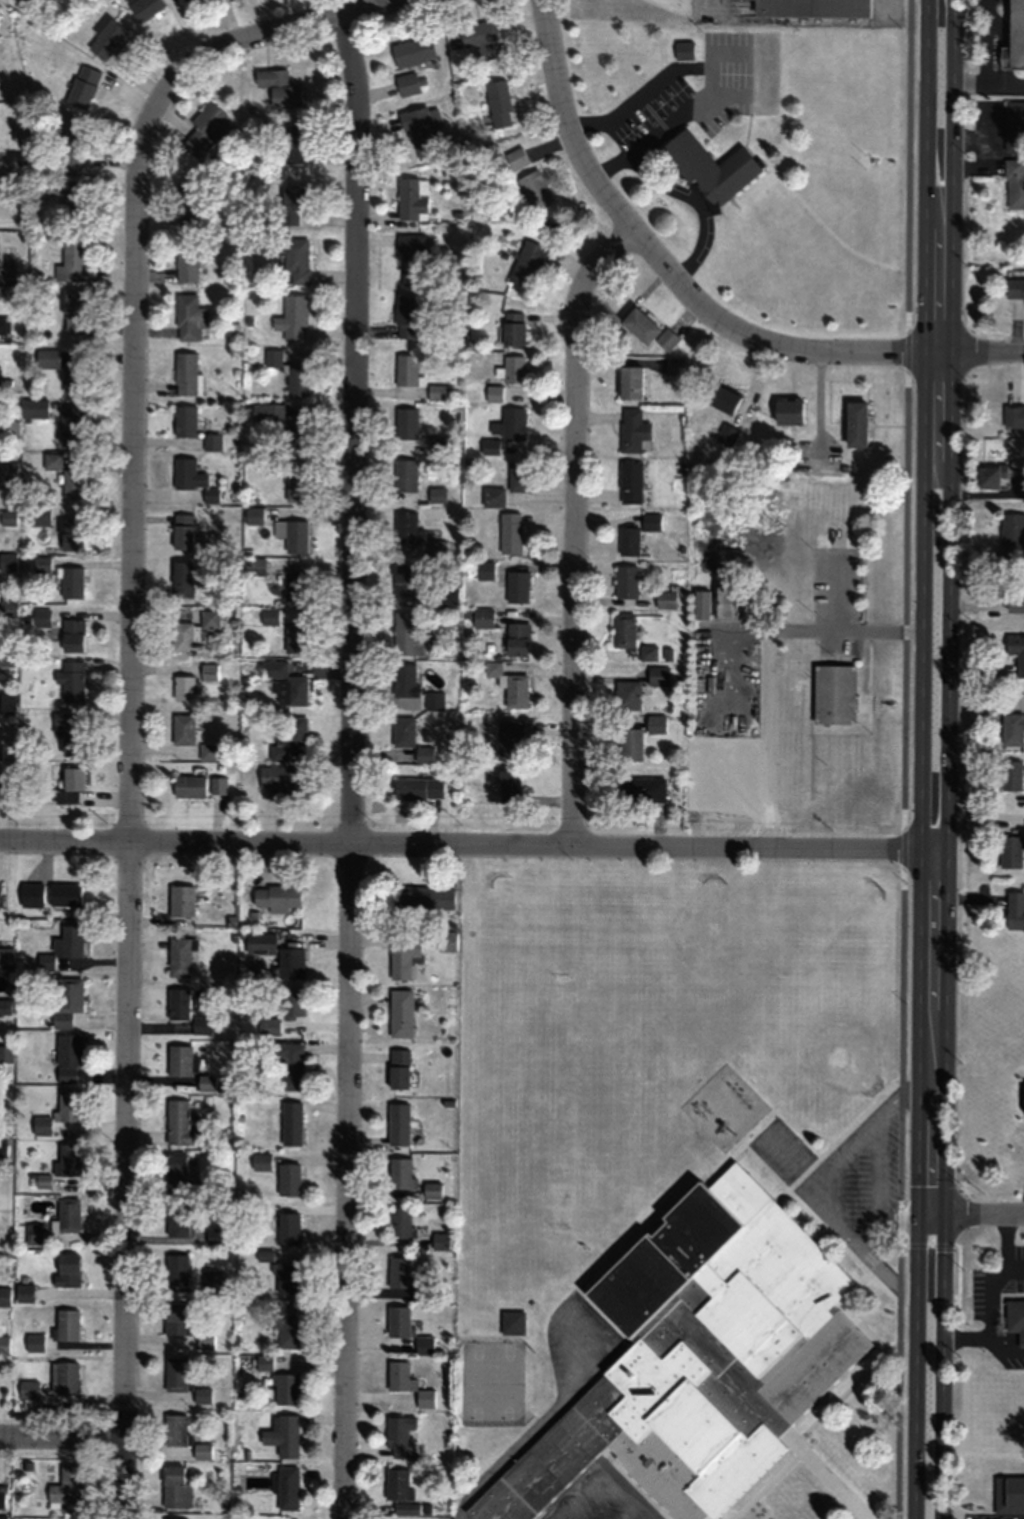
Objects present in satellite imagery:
building: (184, 0)
building: (145, 8)
building: (813, 8)
building: (1015, 37)
building: (479, 38)
building: (107, 39)
road: (987, 43)
building: (685, 49)
building: (413, 51)
building: (407, 83)
building: (83, 85)
road: (988, 86)
building: (280, 88)
building: (499, 102)
building: (1014, 124)
building: (208, 129)
building: (420, 129)
building: (74, 141)
building: (301, 142)
building: (710, 167)
building: (527, 177)
building: (1015, 183)
building: (412, 197)
building: (75, 200)
building: (294, 201)
building: (187, 203)
building: (186, 258)
building: (71, 259)
building: (411, 259)
building: (296, 260)
building: (527, 263)
building: (1014, 287)
road: (694, 298)
building: (74, 312)
building: (407, 316)
building: (189, 317)
building: (292, 317)
building: (4, 324)
building: (513, 328)
building: (648, 329)
building: (273, 357)
building: (47, 358)
building: (675, 365)
building: (514, 368)
building: (407, 370)
building: (186, 373)
building: (72, 377)
building: (298, 379)
building: (630, 381)
building: (436, 391)
building: (495, 393)
building: (722, 397)
building: (33, 408)
building: (789, 411)
building: (1013, 415)
building: (184, 421)
building: (407, 423)
building: (856, 423)
building: (286, 424)
building: (73, 425)
building: (505, 429)
building: (633, 429)
building: (212, 441)
building: (52, 461)
building: (996, 474)
building: (406, 475)
building: (518, 475)
building: (192, 477)
building: (631, 481)
building: (73, 483)
building: (296, 484)
building: (437, 495)
building: (493, 497)
building: (39, 514)
building: (254, 515)
building: (8, 517)
road: (574, 526)
building: (407, 529)
building: (182, 531)
building: (511, 532)
building: (636, 532)
building: (71, 533)
building: (1012, 534)
building: (296, 536)
building: (8, 561)
building: (254, 566)
building: (484, 570)
building: (182, 579)
building: (626, 581)
building: (70, 582)
building: (407, 583)
building: (296, 584)
building: (517, 586)
building: (450, 596)
building: (1015, 596)
building: (701, 603)
building: (8, 607)
building: (270, 617)
building: (482, 617)
building: (210, 619)
building: (624, 629)
building: (406, 633)
building: (72, 634)
building: (181, 636)
building: (295, 637)
building: (517, 638)
building: (1016, 651)
building: (648, 652)
building: (8, 654)
road: (132, 658)
building: (209, 671)
building: (658, 675)
building: (71, 680)
building: (285, 683)
building: (183, 687)
building: (412, 690)
building: (516, 690)
building: (834, 693)
building: (627, 694)
building: (1023, 694)
building: (656, 724)
building: (183, 728)
building: (1012, 728)
building: (71, 731)
building: (403, 731)
building: (289, 733)
building: (509, 739)
building: (630, 743)
building: (208, 751)
building: (0, 753)
road: (903, 759)
road: (920, 759)
road: (943, 759)
road: (350, 770)
building: (1010, 774)
building: (284, 778)
building: (71, 781)
building: (218, 785)
building: (189, 786)
building: (509, 786)
building: (412, 787)
building: (642, 789)
building: (4, 792)
road: (471, 842)
building: (1010, 851)
building: (64, 894)
building: (31, 895)
building: (275, 897)
building: (423, 897)
building: (181, 900)
building: (1015, 910)
building: (70, 940)
building: (260, 943)
building: (6, 956)
building: (180, 956)
building: (404, 957)
building: (45, 962)
building: (290, 963)
building: (67, 1000)
building: (6, 1003)
building: (178, 1003)
building: (401, 1012)
building: (283, 1014)
building: (202, 1025)
building: (6, 1053)
building: (68, 1056)
building: (288, 1066)
building: (398, 1068)
building: (186, 1070)
building: (67, 1105)
building: (178, 1123)
building: (291, 1123)
building: (398, 1124)
road: (844, 1131)
road: (846, 1152)
building: (68, 1159)
building: (261, 1161)
building: (176, 1170)
building: (401, 1173)
parking lot: (843, 1173)
building: (289, 1178)
road: (876, 1185)
building: (431, 1190)
road: (971, 1212)
building: (68, 1215)
road: (833, 1217)
building: (178, 1220)
building: (399, 1222)
building: (288, 1228)
building: (36, 1233)
building: (442, 1241)
building: (176, 1268)
building: (67, 1269)
road: (884, 1270)
building: (400, 1271)
building: (287, 1277)
road: (883, 1287)
road: (872, 1306)
road: (849, 1314)
building: (175, 1318)
building: (1015, 1318)
building: (399, 1321)
building: (513, 1322)
building: (67, 1325)
building: (288, 1332)
building: (205, 1338)
building: (2, 1342)
building: (34, 1342)
building: (425, 1344)
road: (887, 1351)
building: (698, 1357)
building: (175, 1373)
building: (400, 1376)
building: (66, 1377)
building: (285, 1388)
building: (28, 1389)
building: (202, 1395)
building: (425, 1397)
building: (174, 1429)
road: (62, 1435)
building: (283, 1435)
building: (401, 1436)
building: (202, 1450)
road: (607, 1469)
road: (768, 1482)
building: (397, 1483)
building: (174, 1487)
building: (287, 1487)
building: (66, 1489)
parking lot: (605, 1494)
building: (1009, 1494)
building: (2, 1499)
building: (407, 1508)
road: (625, 1508)
building: (3, 1516)
parking lot: (465, 1516)
building: (174, 1518)

